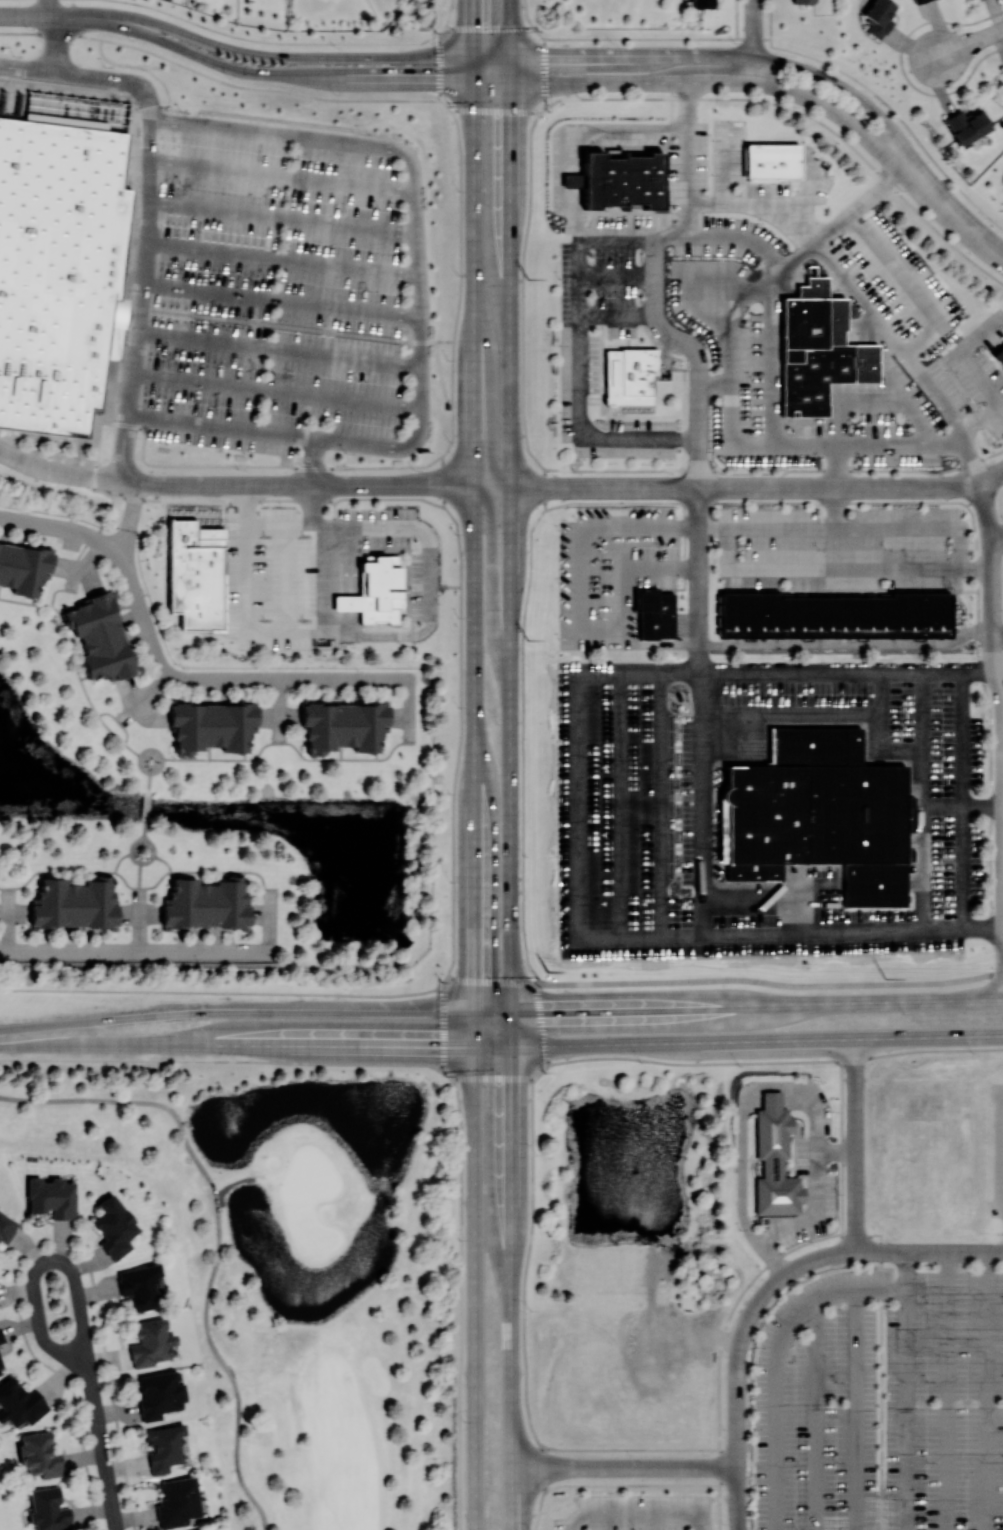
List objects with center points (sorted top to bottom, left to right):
building: (802, 1)
building: (918, 1)
building: (701, 3)
road: (48, 7)
road: (755, 14)
road: (60, 15)
traffic signals: (473, 15)
building: (878, 17)
road: (736, 19)
road: (770, 19)
road: (509, 26)
road: (473, 28)
road: (969, 43)
road: (804, 53)
road: (548, 54)
traffic signals: (556, 54)
road: (670, 54)
road: (753, 55)
road: (313, 56)
road: (218, 62)
road: (900, 64)
road: (27, 69)
road: (371, 80)
traffic signals: (428, 81)
road: (493, 82)
road: (660, 82)
road: (845, 88)
road: (835, 111)
traffic signals: (510, 120)
building: (967, 124)
road: (644, 127)
building: (771, 161)
road: (561, 171)
road: (283, 176)
building: (619, 180)
road: (861, 200)
road: (758, 205)
road: (149, 208)
road: (951, 211)
road: (474, 212)
road: (282, 215)
road: (414, 217)
road: (617, 235)
road: (673, 235)
road: (281, 257)
road: (794, 259)
building: (58, 271)
power tower: (528, 278)
road: (907, 287)
parking lot: (286, 289)
road: (280, 298)
road: (617, 318)
road: (311, 328)
road: (773, 328)
road: (731, 336)
road: (675, 337)
road: (893, 341)
road: (279, 346)
building: (818, 349)
building: (629, 375)
road: (278, 388)
road: (489, 395)
road: (579, 395)
road: (222, 424)
road: (732, 435)
road: (314, 460)
road: (699, 463)
road: (974, 463)
road: (835, 466)
road: (57, 470)
road: (991, 476)
road: (133, 480)
road: (298, 485)
road: (452, 485)
road: (465, 485)
road: (442, 486)
road: (839, 486)
road: (517, 487)
road: (529, 487)
road: (617, 487)
road: (984, 504)
road: (835, 506)
road: (109, 517)
road: (130, 517)
road: (61, 526)
road: (865, 526)
road: (997, 538)
building: (23, 566)
road: (824, 567)
road: (628, 572)
building: (196, 574)
road: (699, 579)
road: (580, 581)
road: (492, 582)
building: (373, 591)
road: (432, 598)
building: (655, 613)
road: (993, 613)
building: (834, 615)
road: (998, 631)
power tower: (529, 639)
building: (100, 640)
road: (848, 643)
road: (74, 662)
road: (222, 679)
road: (475, 690)
road: (149, 691)
road: (279, 702)
road: (409, 702)
road: (138, 705)
road: (790, 712)
building: (344, 722)
building: (212, 725)
road: (880, 730)
road: (279, 734)
road: (294, 745)
road: (140, 758)
road: (522, 762)
road: (149, 780)
road: (511, 792)
road: (963, 800)
road: (925, 801)
road: (700, 802)
road: (146, 805)
road: (578, 806)
road: (944, 806)
road: (983, 806)
building: (815, 813)
road: (144, 829)
road: (143, 837)
road: (66, 870)
road: (218, 870)
road: (140, 882)
building: (75, 905)
building: (205, 905)
road: (139, 926)
road: (268, 926)
road: (134, 949)
power tower: (548, 970)
traffic signals: (475, 972)
power tower: (885, 976)
road: (724, 979)
road: (267, 992)
road: (738, 1004)
traffic signals: (550, 1011)
road: (237, 1013)
road: (474, 1029)
road: (738, 1039)
road: (236, 1044)
traffic signals: (434, 1047)
road: (855, 1054)
road: (267, 1059)
road: (775, 1061)
traffic signals: (512, 1087)
road: (130, 1100)
road: (1002, 1145)
building: (774, 1159)
road: (856, 1160)
fountain: (624, 1176)
road: (236, 1177)
building: (52, 1197)
road: (814, 1213)
building: (114, 1226)
building: (6, 1227)
road: (929, 1251)
road: (42, 1262)
road: (809, 1262)
park: (297, 1270)
building: (140, 1285)
road: (475, 1288)
road: (760, 1299)
road: (461, 1303)
building: (1, 1338)
building: (150, 1342)
road: (775, 1358)
road: (223, 1360)
building: (1, 1368)
road: (738, 1387)
road: (907, 1390)
road: (947, 1390)
road: (987, 1390)
building: (159, 1394)
building: (19, 1403)
road: (855, 1408)
road: (815, 1413)
road: (101, 1445)
building: (163, 1446)
building: (39, 1454)
road: (642, 1466)
road: (528, 1467)
road: (738, 1498)
building: (177, 1501)
building: (47, 1509)
road: (637, 1514)
park: (0, 1528)
building: (202, 1529)

